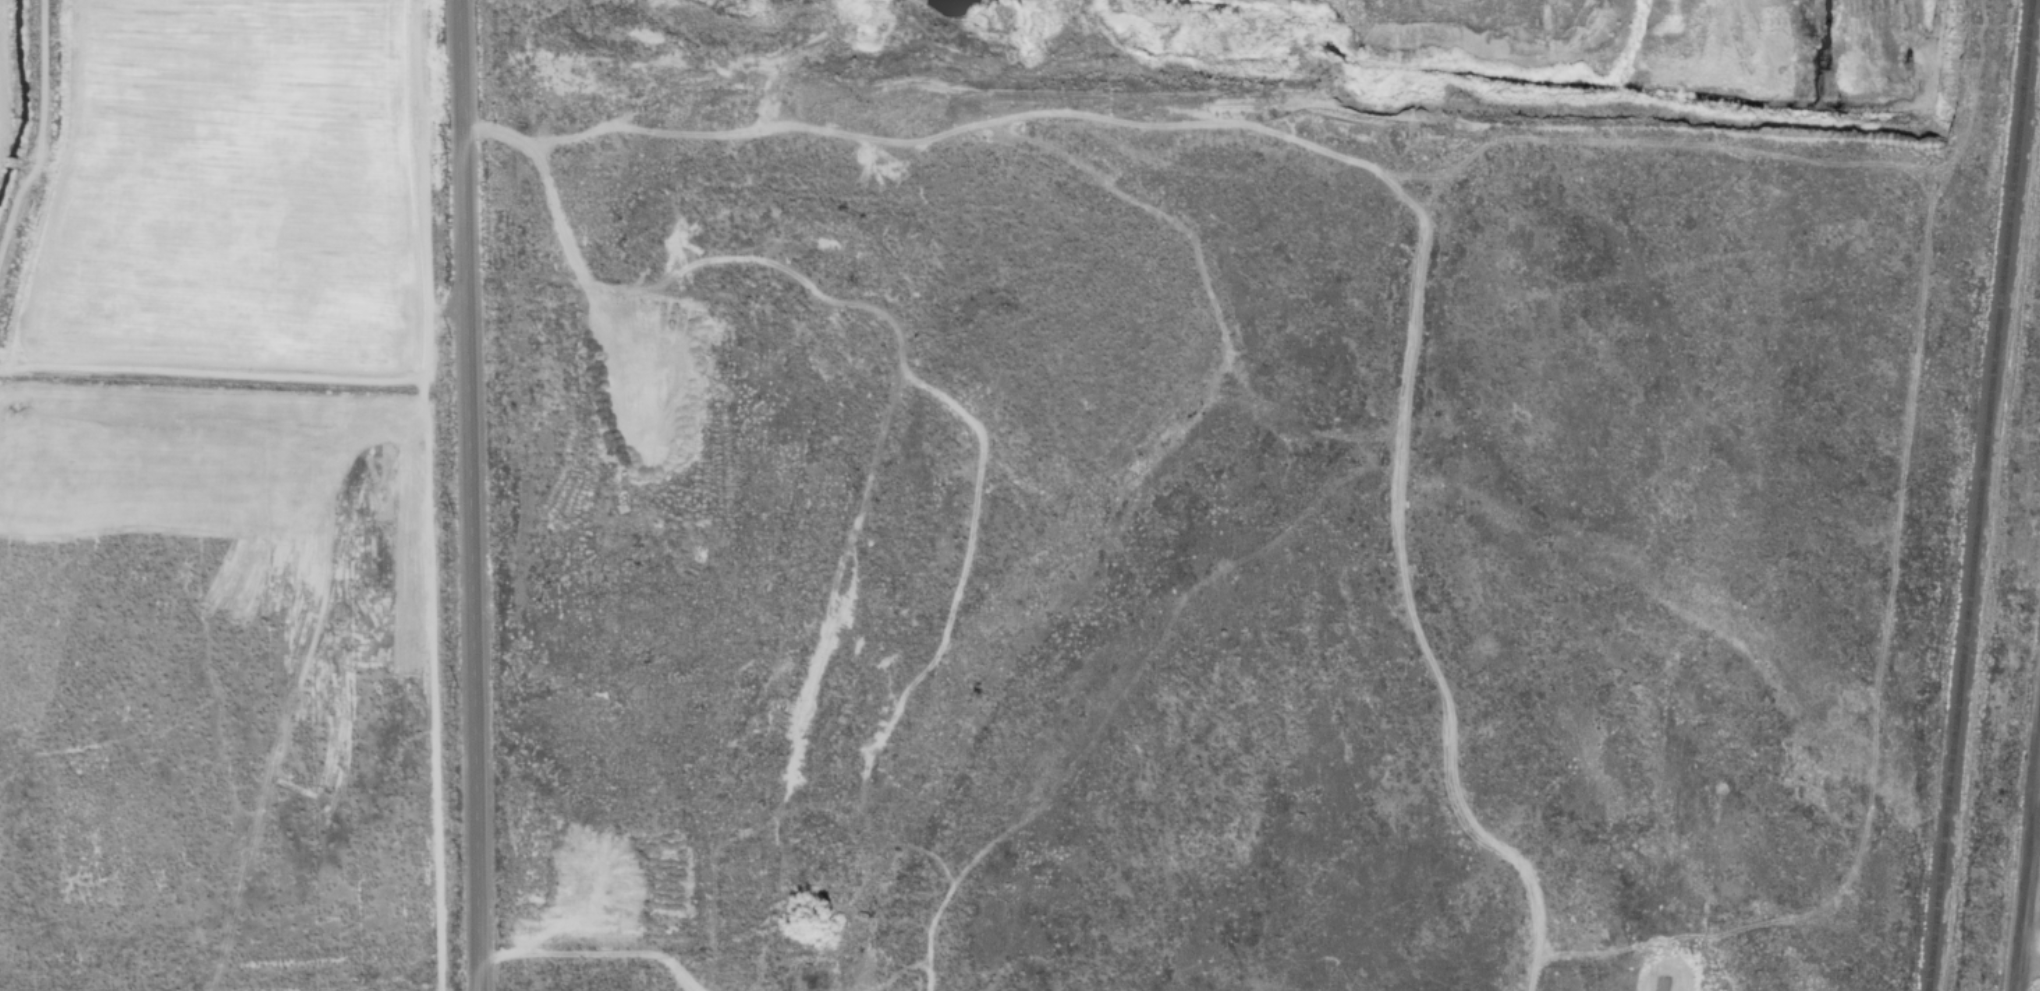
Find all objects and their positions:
road: (2, 61)
road: (1726, 63)
quarry: (1401, 65)
road: (38, 130)
road: (1322, 155)
road: (61, 215)
road: (949, 405)
road: (371, 407)
road: (613, 418)
road: (423, 495)
road: (467, 495)
railway: (1978, 495)
road: (1883, 637)
road: (2026, 873)
road: (594, 954)
road: (2028, 965)
airport runway: (1664, 985)

